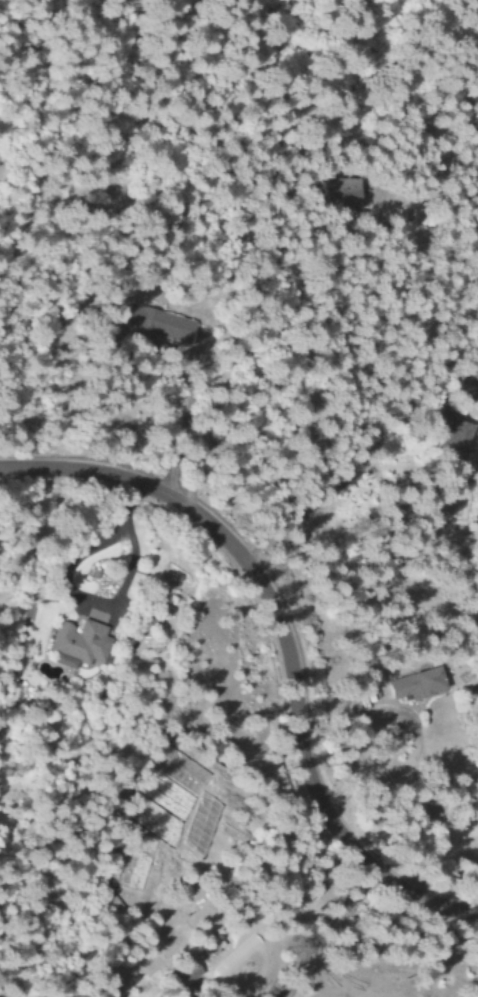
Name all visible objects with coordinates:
building: (340, 195)
building: (155, 324)
road: (282, 647)
building: (413, 685)
building: (183, 974)

